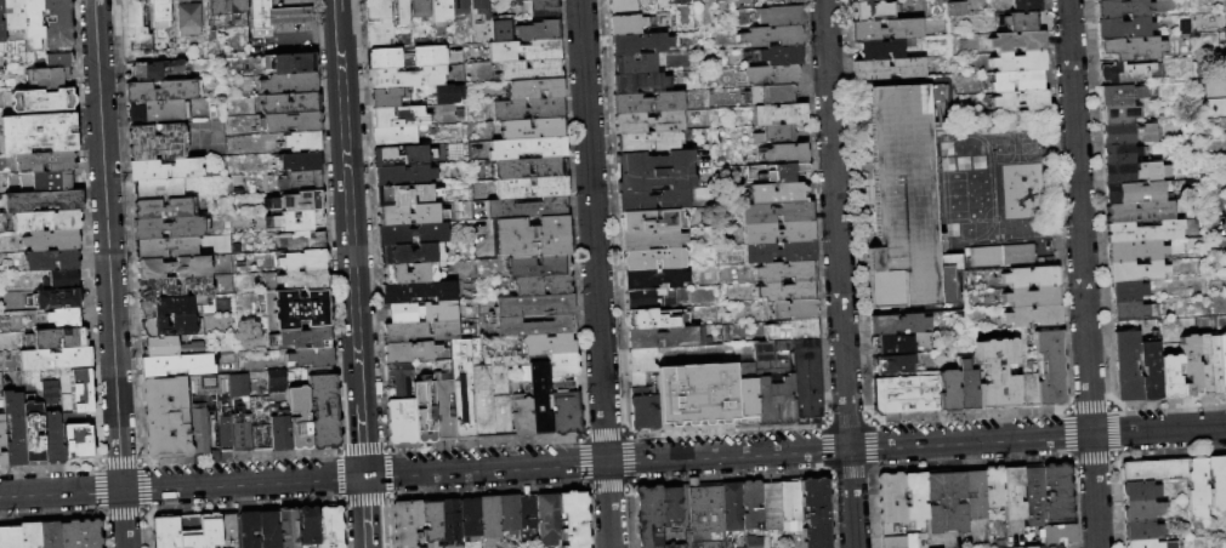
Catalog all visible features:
building: (181, 0)
building: (640, 0)
building: (653, 0)
building: (719, 0)
building: (868, 0)
building: (681, 1)
building: (704, 1)
building: (788, 1)
building: (518, 2)
road: (336, 6)
building: (620, 6)
building: (1027, 6)
building: (227, 7)
building: (460, 7)
building: (481, 7)
building: (543, 7)
building: (953, 7)
building: (421, 8)
building: (1123, 8)
building: (872, 10)
building: (378, 11)
building: (441, 11)
building: (402, 12)
building: (15, 15)
building: (1225, 15)
building: (278, 16)
building: (778, 16)
building: (159, 17)
building: (189, 19)
building: (34, 22)
building: (1022, 22)
building: (2, 23)
building: (58, 24)
building: (626, 24)
building: (1124, 28)
building: (135, 29)
building: (889, 29)
building: (381, 30)
building: (501, 30)
building: (539, 32)
building: (771, 36)
building: (1018, 41)
building: (381, 42)
building: (641, 44)
building: (884, 48)
building: (1130, 50)
building: (524, 51)
building: (778, 55)
building: (407, 58)
building: (1224, 59)
building: (59, 61)
building: (1018, 62)
building: (291, 63)
building: (635, 64)
building: (157, 69)
building: (889, 69)
building: (530, 70)
building: (1128, 73)
building: (770, 75)
building: (405, 78)
building: (47, 79)
building: (1017, 81)
building: (640, 82)
building: (290, 84)
building: (534, 89)
building: (163, 91)
building: (449, 95)
building: (771, 95)
building: (1124, 95)
building: (386, 98)
building: (42, 101)
building: (1021, 101)
building: (648, 102)
building: (290, 104)
building: (1213, 105)
building: (528, 109)
building: (159, 112)
building: (779, 114)
building: (1119, 114)
building: (399, 118)
building: (290, 122)
building: (649, 122)
building: (533, 129)
building: (39, 133)
building: (779, 133)
building: (1128, 133)
building: (395, 136)
building: (302, 141)
building: (158, 142)
building: (649, 142)
building: (528, 148)
building: (787, 153)
building: (1122, 154)
building: (402, 156)
building: (45, 161)
building: (301, 161)
building: (165, 170)
building: (509, 171)
building: (655, 171)
building: (778, 172)
building: (1136, 172)
building: (404, 175)
building: (302, 181)
building: (52, 182)
building: (533, 188)
building: (159, 189)
building: (1135, 192)
building: (778, 194)
building: (904, 194)
building: (405, 195)
building: (40, 199)
building: (300, 201)
building: (653, 201)
road: (348, 205)
building: (165, 209)
building: (528, 209)
building: (1140, 212)
building: (777, 213)
building: (410, 215)
building: (46, 221)
building: (299, 221)
building: (652, 221)
building: (1225, 221)
building: (171, 228)
building: (1021, 230)
building: (1143, 232)
building: (778, 233)
building: (411, 234)
building: (981, 234)
building: (530, 238)
building: (652, 239)
building: (51, 240)
building: (303, 241)
building: (166, 249)
building: (1136, 251)
building: (781, 252)
building: (411, 253)
building: (1001, 255)
building: (51, 259)
building: (654, 259)
building: (305, 261)
building: (175, 267)
building: (538, 267)
building: (787, 272)
building: (1137, 272)
road: (109, 273)
road: (838, 273)
building: (948, 273)
building: (410, 274)
road: (596, 274)
road: (1082, 274)
building: (1031, 276)
building: (305, 279)
building: (654, 279)
building: (61, 280)
building: (543, 285)
building: (175, 287)
building: (788, 291)
building: (1129, 291)
building: (419, 292)
building: (1033, 297)
building: (657, 298)
building: (57, 299)
building: (533, 304)
building: (172, 307)
building: (302, 309)
building: (791, 310)
building: (1135, 310)
building: (421, 313)
building: (1034, 316)
building: (61, 319)
building: (657, 319)
building: (898, 324)
building: (171, 326)
building: (533, 326)
building: (793, 330)
building: (421, 332)
building: (668, 337)
building: (57, 338)
building: (303, 338)
building: (903, 343)
building: (549, 344)
building: (172, 347)
building: (410, 352)
building: (772, 355)
building: (1194, 355)
building: (312, 358)
building: (56, 359)
building: (642, 360)
building: (223, 361)
building: (1222, 363)
building: (897, 364)
building: (178, 365)
building: (564, 365)
building: (1209, 365)
building: (1126, 366)
building: (1027, 367)
building: (1151, 367)
building: (1051, 369)
building: (998, 375)
building: (1170, 377)
building: (399, 379)
building: (638, 379)
building: (277, 381)
building: (807, 381)
building: (967, 383)
building: (1, 387)
building: (51, 387)
building: (462, 390)
building: (482, 392)
building: (949, 392)
building: (745, 393)
building: (697, 394)
building: (907, 394)
building: (501, 395)
building: (541, 398)
building: (51, 399)
building: (776, 403)
building: (216, 405)
building: (443, 406)
building: (566, 406)
building: (324, 407)
building: (643, 410)
building: (242, 412)
building: (425, 412)
building: (522, 412)
building: (166, 418)
building: (300, 418)
building: (402, 422)
building: (261, 423)
building: (16, 429)
building: (2, 432)
building: (34, 432)
building: (203, 433)
building: (282, 434)
road: (361, 436)
building: (53, 439)
building: (81, 441)
building: (2, 459)
road: (612, 459)
building: (1225, 463)
building: (1156, 470)
traffic signals: (364, 475)
building: (1216, 481)
building: (1198, 487)
building: (1140, 490)
building: (1015, 493)
building: (1057, 493)
building: (976, 495)
building: (994, 495)
building: (1034, 496)
building: (916, 498)
building: (892, 500)
building: (946, 502)
building: (753, 506)
building: (772, 506)
building: (672, 507)
building: (733, 507)
building: (791, 507)
road: (365, 509)
building: (528, 510)
building: (1142, 510)
building: (815, 512)
building: (510, 514)
building: (648, 515)
building: (703, 515)
building: (471, 519)
building: (490, 520)
building: (549, 520)
building: (573, 520)
building: (432, 521)
building: (450, 523)
building: (408, 524)
building: (308, 526)
building: (330, 527)
building: (289, 529)
building: (228, 530)
building: (249, 530)
building: (269, 530)
building: (1141, 530)
building: (199, 531)
building: (166, 532)
building: (80, 533)
building: (30, 535)
building: (50, 535)
building: (1057, 535)
building: (10, 537)
building: (907, 541)
building: (751, 542)
building: (1151, 544)
road: (368, 546)
building: (1048, 547)

